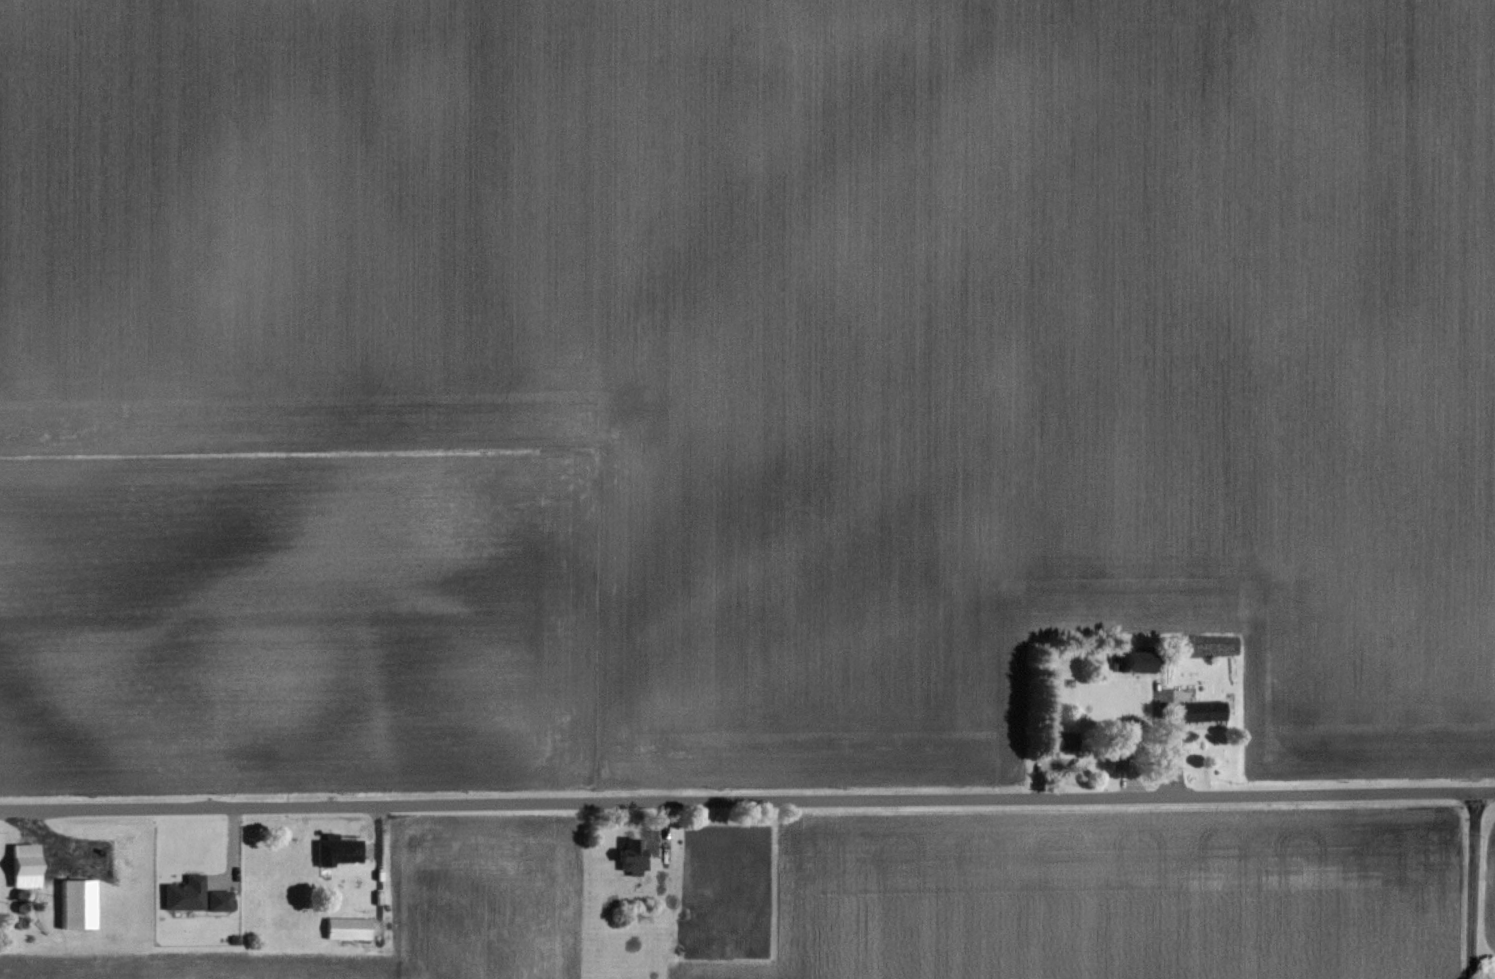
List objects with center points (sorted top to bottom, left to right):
building: (1140, 661)
building: (1203, 711)
building: (1067, 741)
road: (747, 802)
building: (339, 850)
building: (633, 857)
building: (26, 865)
road: (1478, 886)
building: (186, 893)
building: (220, 900)
building: (80, 904)
building: (349, 928)

